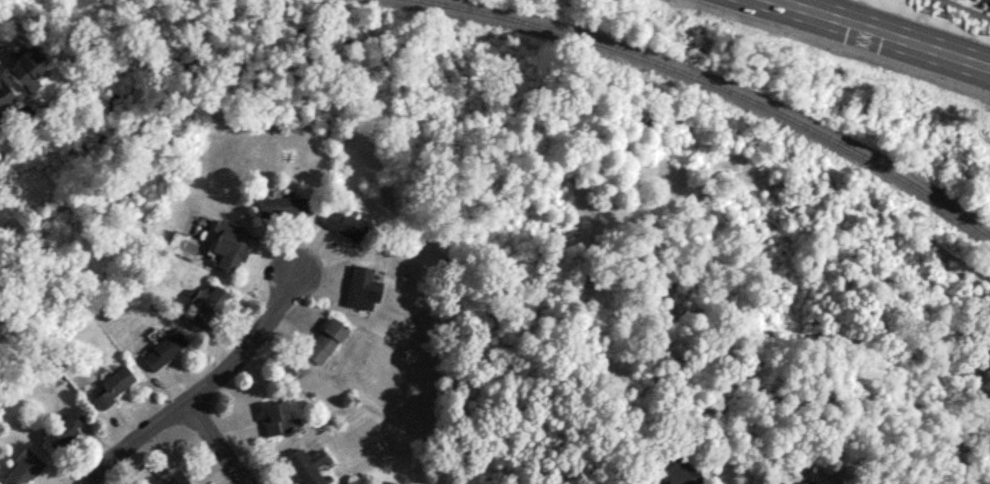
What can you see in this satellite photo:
road: (969, 7)
road: (884, 33)
building: (29, 65)
railway: (717, 86)
building: (5, 93)
building: (282, 206)
building: (345, 223)
building: (230, 244)
building: (363, 287)
building: (208, 305)
building: (326, 339)
building: (165, 348)
building: (113, 384)
road: (202, 389)
building: (278, 417)
building: (65, 427)
road: (218, 442)
building: (309, 465)
building: (22, 468)
building: (676, 469)
building: (179, 478)
building: (800, 482)

